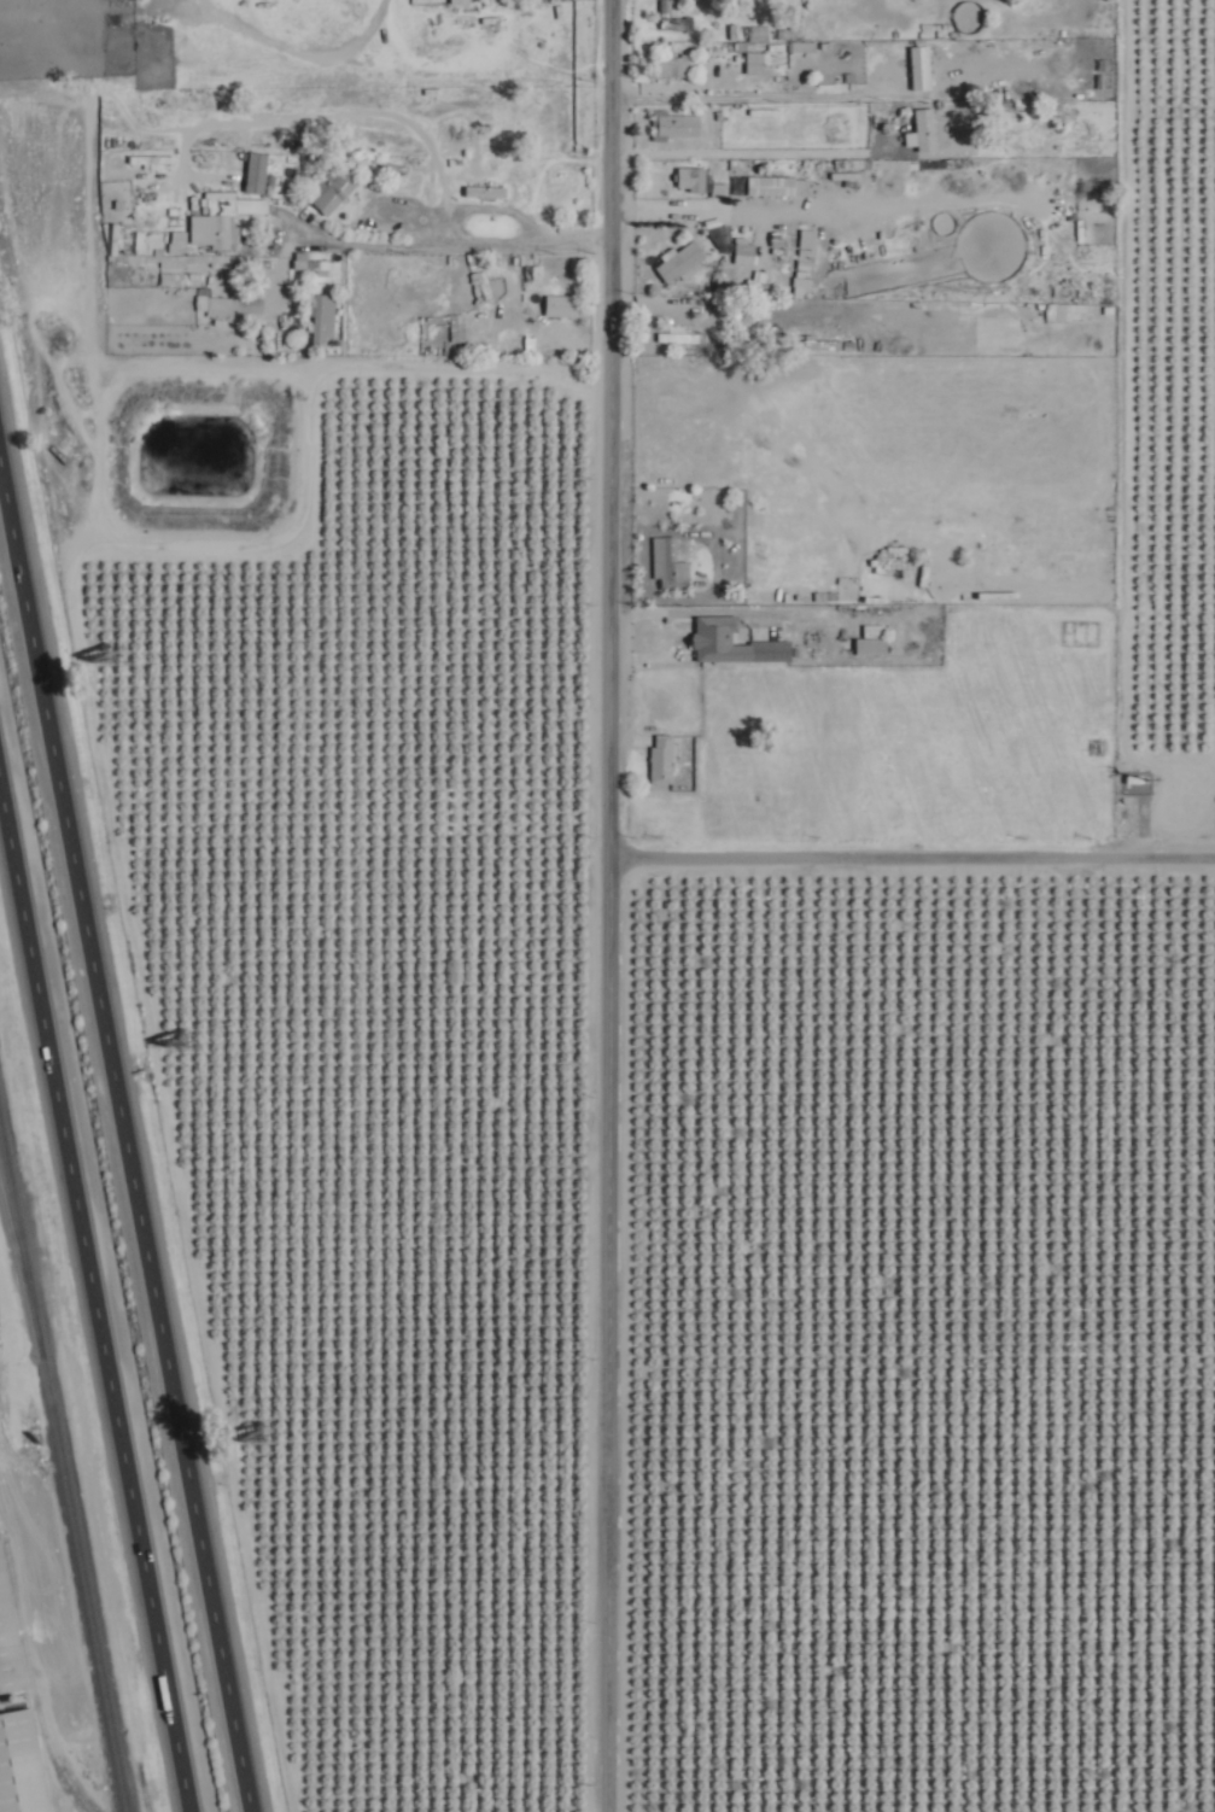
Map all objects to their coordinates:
building: (456, 0)
building: (666, 10)
building: (755, 60)
building: (671, 63)
building: (925, 66)
building: (674, 123)
building: (923, 128)
road: (750, 150)
building: (257, 170)
building: (691, 176)
building: (331, 186)
building: (486, 189)
building: (222, 217)
building: (177, 239)
building: (808, 240)
road: (421, 245)
building: (744, 251)
building: (679, 258)
building: (310, 261)
building: (233, 304)
building: (563, 304)
building: (322, 311)
building: (670, 561)
building: (941, 573)
road: (869, 592)
building: (875, 629)
road: (672, 633)
building: (734, 642)
building: (872, 644)
building: (662, 756)
road: (912, 849)
road: (608, 867)
road: (128, 1122)
railway: (14, 1224)
road: (99, 1281)
crop: (927, 1357)
railway: (65, 1465)
building: (8, 1638)
railway: (33, 1679)
building: (21, 1764)
road: (603, 1773)

